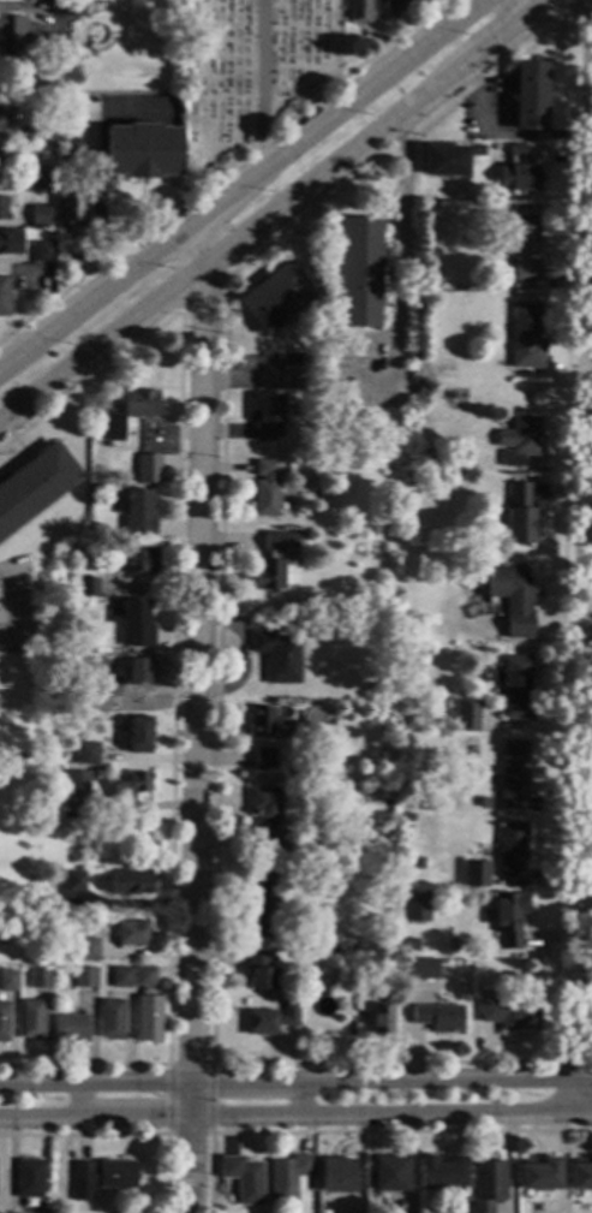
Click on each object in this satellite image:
building: (394, 5)
road: (566, 5)
road: (576, 5)
building: (67, 7)
road: (531, 7)
building: (357, 11)
building: (18, 35)
park: (247, 73)
road: (261, 79)
building: (507, 82)
building: (528, 96)
parking lot: (482, 111)
building: (4, 112)
road: (331, 112)
building: (507, 115)
building: (43, 131)
road: (379, 132)
road: (503, 133)
building: (70, 150)
building: (142, 151)
building: (479, 151)
building: (443, 160)
building: (0, 162)
road: (221, 170)
building: (515, 170)
building: (41, 180)
building: (465, 194)
building: (1, 208)
building: (70, 209)
building: (41, 216)
building: (11, 242)
road: (195, 245)
building: (524, 248)
building: (42, 251)
road: (180, 261)
building: (357, 273)
building: (430, 279)
road: (397, 287)
road: (202, 292)
building: (48, 293)
building: (4, 296)
road: (91, 297)
building: (275, 298)
building: (312, 332)
building: (524, 338)
road: (102, 346)
parking lot: (367, 369)
parking lot: (270, 370)
road: (252, 377)
building: (139, 403)
building: (267, 417)
building: (107, 428)
building: (518, 441)
building: (148, 469)
building: (477, 478)
building: (34, 486)
building: (265, 490)
building: (516, 515)
building: (138, 516)
building: (274, 559)
building: (136, 560)
building: (88, 587)
building: (512, 597)
road: (12, 613)
building: (136, 625)
building: (345, 625)
building: (417, 626)
building: (127, 650)
building: (277, 658)
building: (140, 676)
building: (78, 685)
building: (515, 688)
road: (198, 690)
road: (585, 700)
building: (466, 715)
building: (316, 716)
building: (262, 723)
building: (138, 735)
building: (86, 754)
building: (264, 760)
building: (513, 769)
building: (77, 783)
building: (130, 785)
building: (484, 803)
building: (268, 816)
building: (407, 817)
building: (510, 848)
building: (417, 862)
building: (477, 879)
building: (73, 881)
building: (130, 882)
building: (259, 905)
building: (415, 906)
building: (508, 918)
building: (132, 933)
building: (409, 944)
building: (88, 950)
building: (418, 968)
building: (258, 971)
building: (85, 977)
building: (121, 977)
building: (40, 979)
building: (8, 980)
building: (498, 992)
building: (146, 1005)
building: (510, 1016)
building: (379, 1017)
building: (437, 1017)
building: (32, 1019)
building: (112, 1019)
building: (270, 1019)
building: (4, 1022)
building: (71, 1029)
road: (573, 1062)
road: (295, 1063)
road: (189, 1064)
road: (295, 1081)
road: (295, 1098)
road: (166, 1099)
road: (211, 1099)
road: (73, 1100)
road: (391, 1113)
road: (96, 1116)
road: (360, 1131)
road: (187, 1134)
road: (191, 1164)
building: (436, 1173)
building: (103, 1175)
building: (390, 1175)
building: (336, 1176)
building: (539, 1176)
building: (580, 1177)
building: (244, 1178)
building: (288, 1178)
building: (29, 1179)
building: (485, 1185)
building: (54, 1212)

